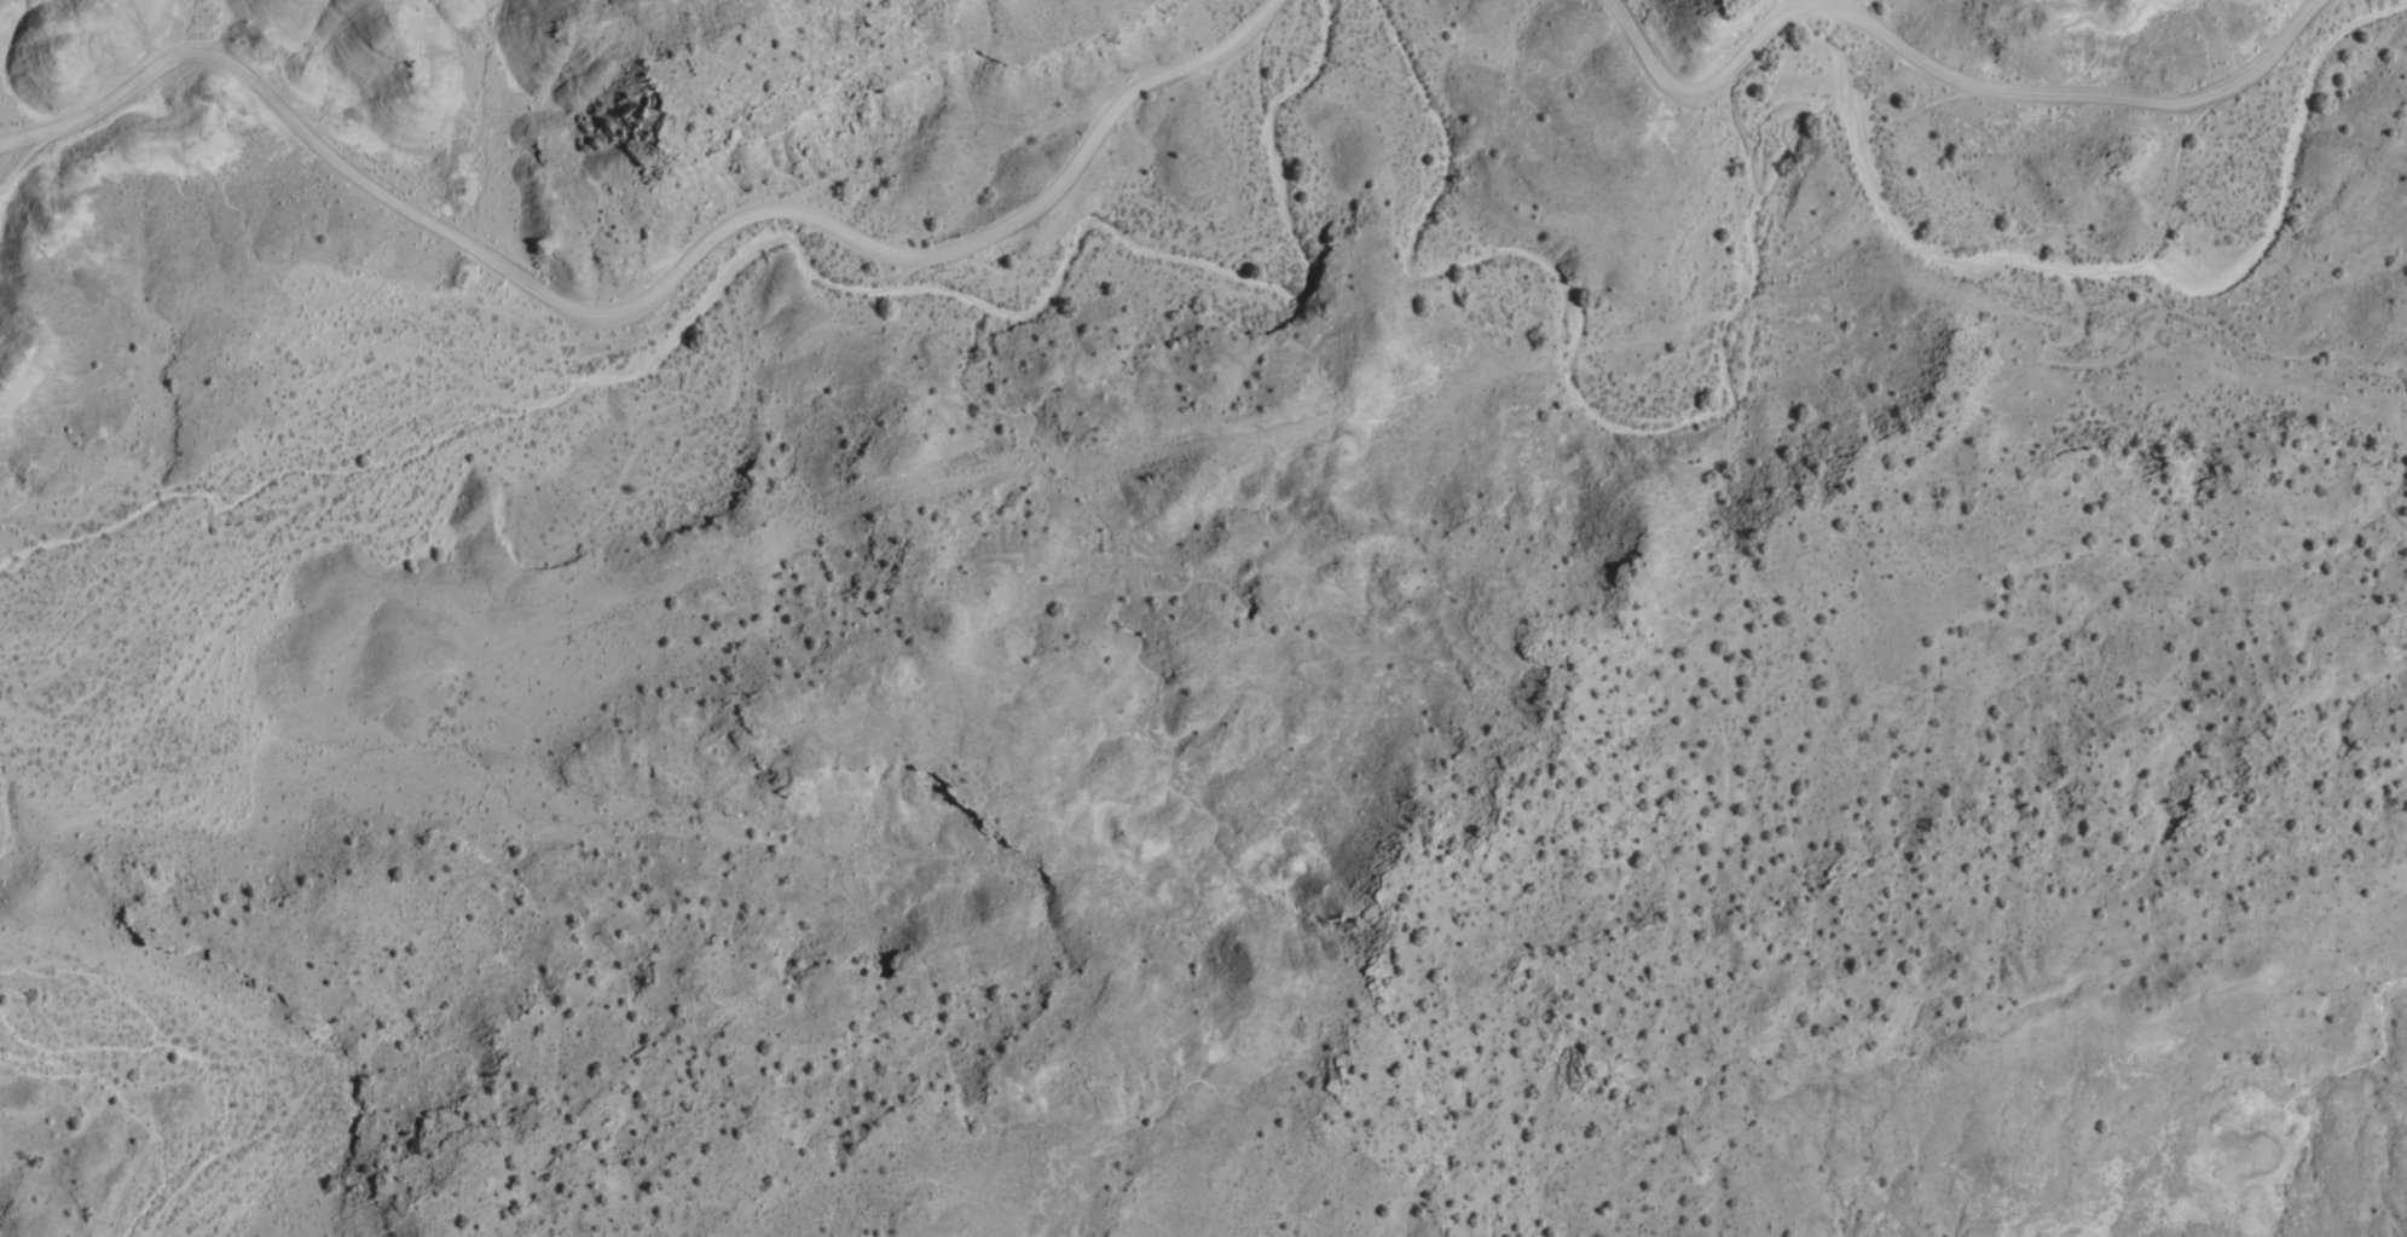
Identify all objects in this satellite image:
road: (1700, 75)
road: (2081, 85)
road: (647, 287)

